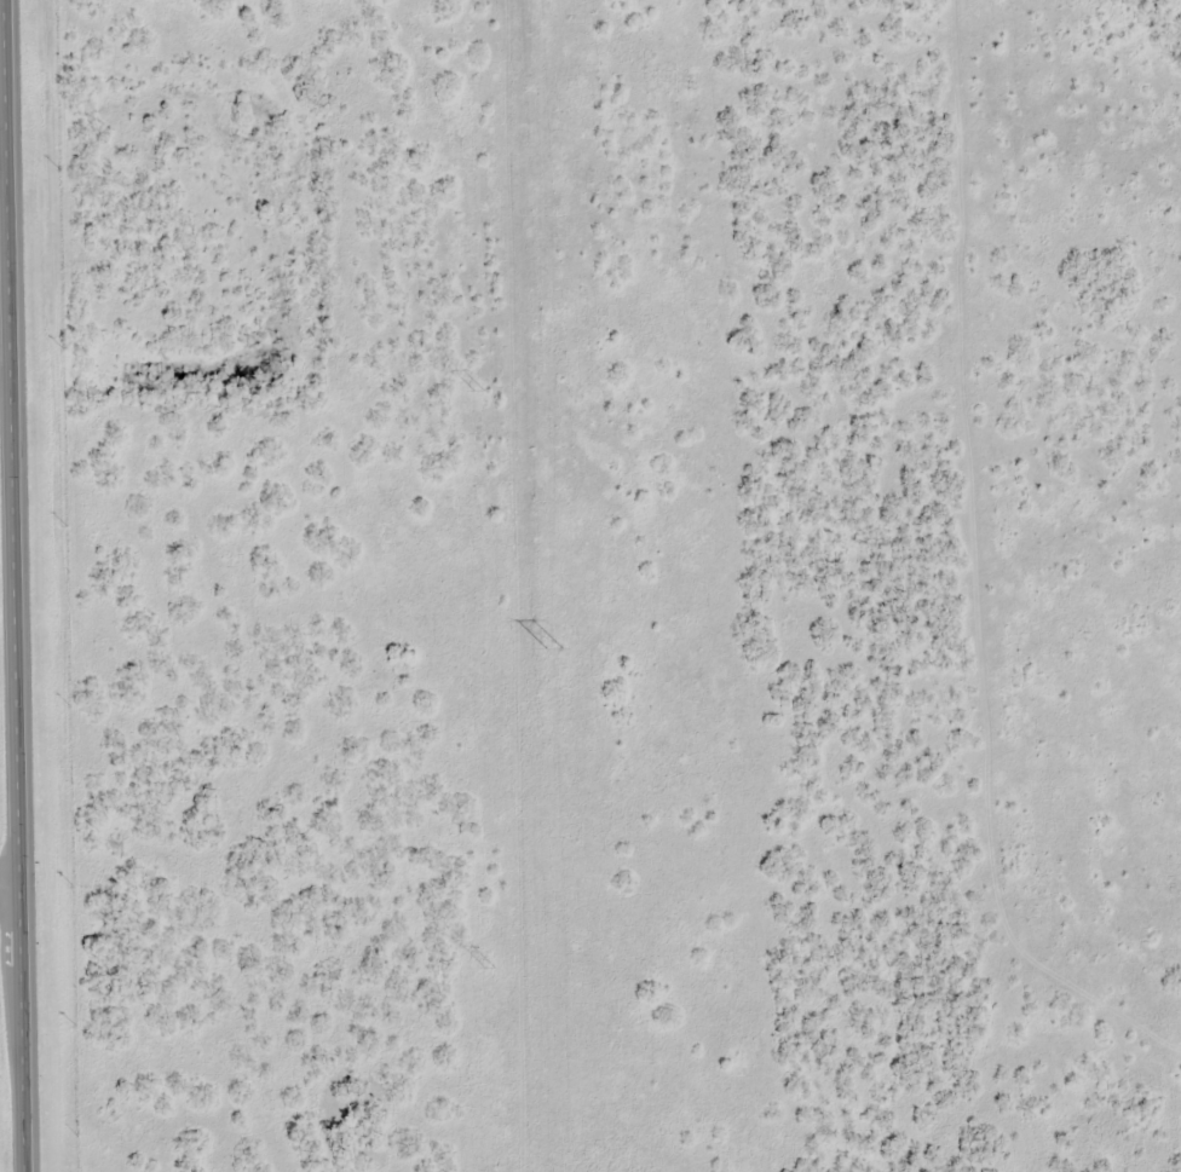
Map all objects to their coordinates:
power tower: (478, 392)
road: (18, 585)
power tower: (551, 651)
road: (11, 885)
power tower: (490, 969)

